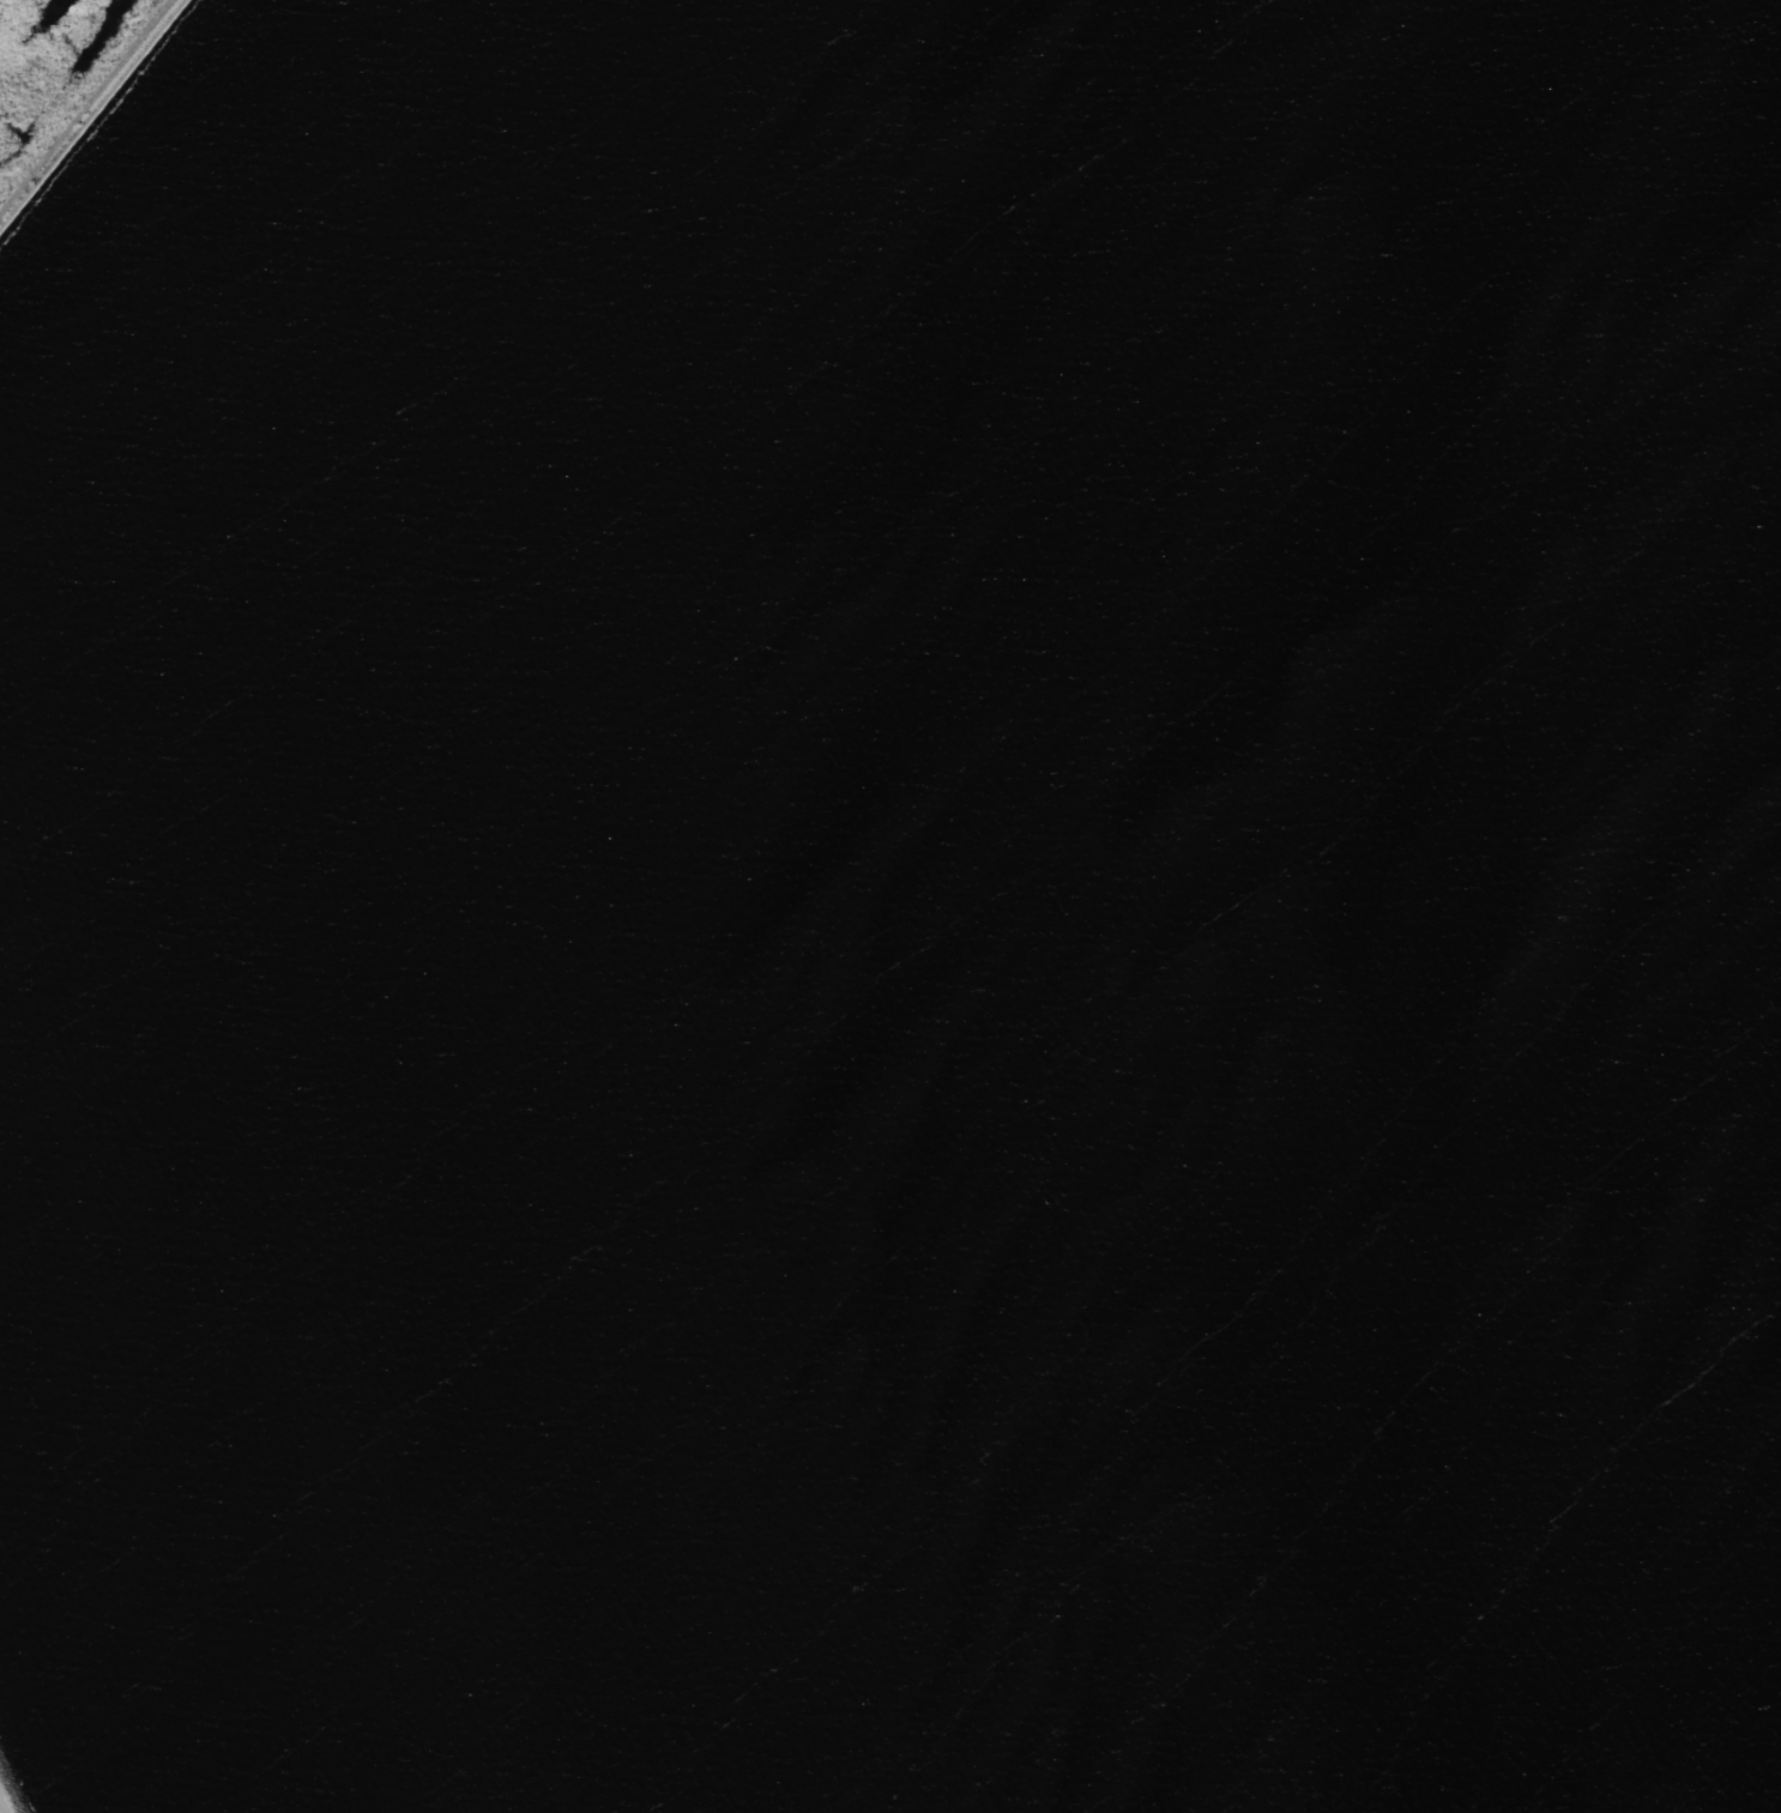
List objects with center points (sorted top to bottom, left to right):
road: (0, 1811)

